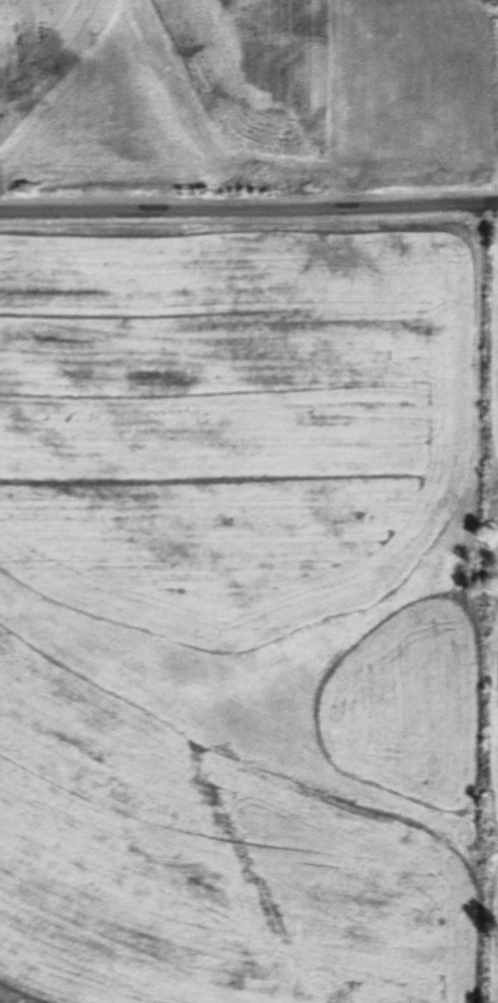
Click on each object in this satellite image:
road: (249, 211)

